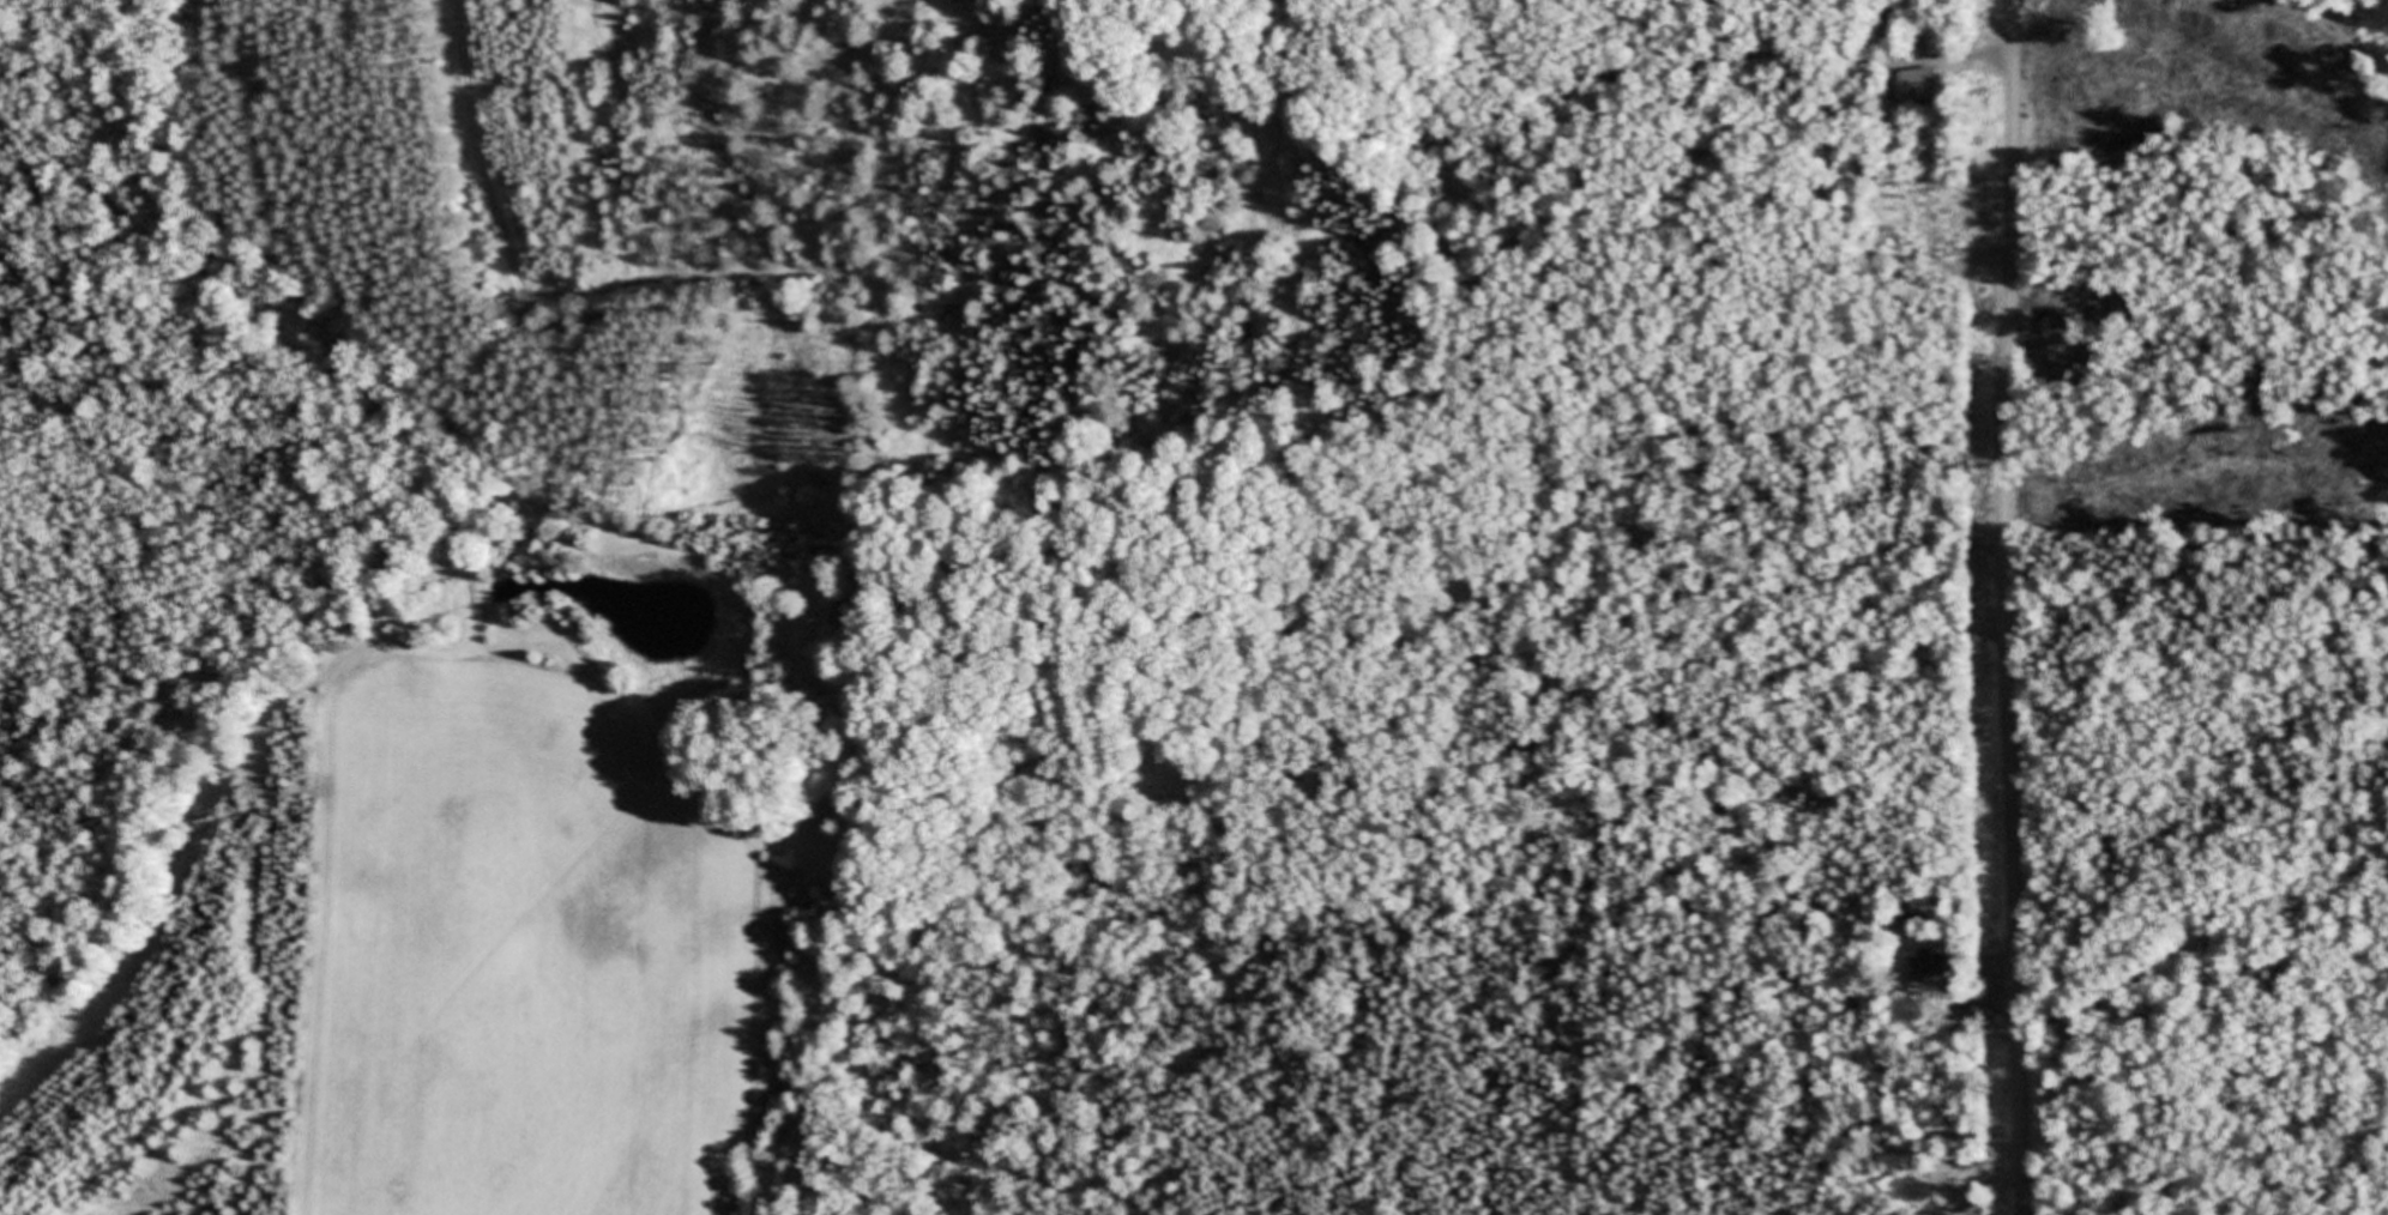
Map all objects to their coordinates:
road: (2003, 607)
building: (1932, 965)

